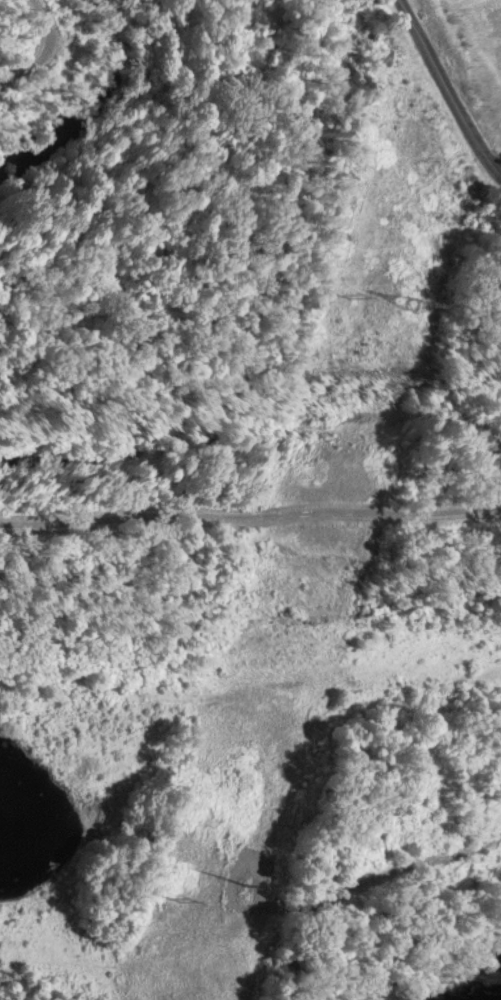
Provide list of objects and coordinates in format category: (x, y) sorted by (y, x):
road: (445, 87)
power tower: (407, 299)
power tower: (241, 891)

